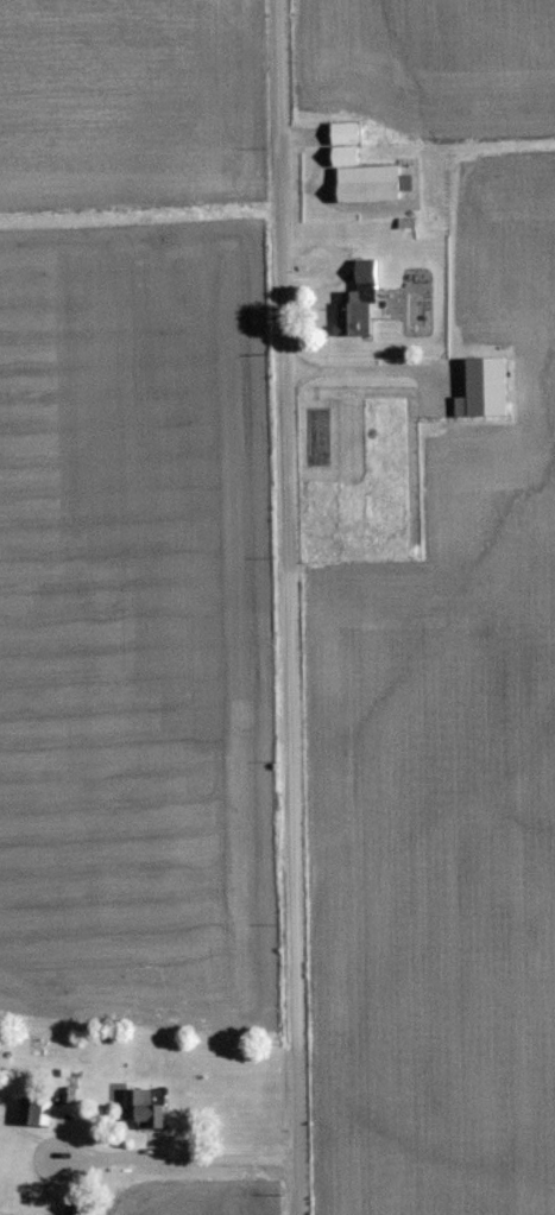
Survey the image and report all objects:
building: (353, 167)
building: (360, 271)
building: (342, 312)
road: (368, 360)
road: (286, 607)
building: (0, 1100)
building: (153, 1106)
building: (42, 1109)
road: (174, 1148)

